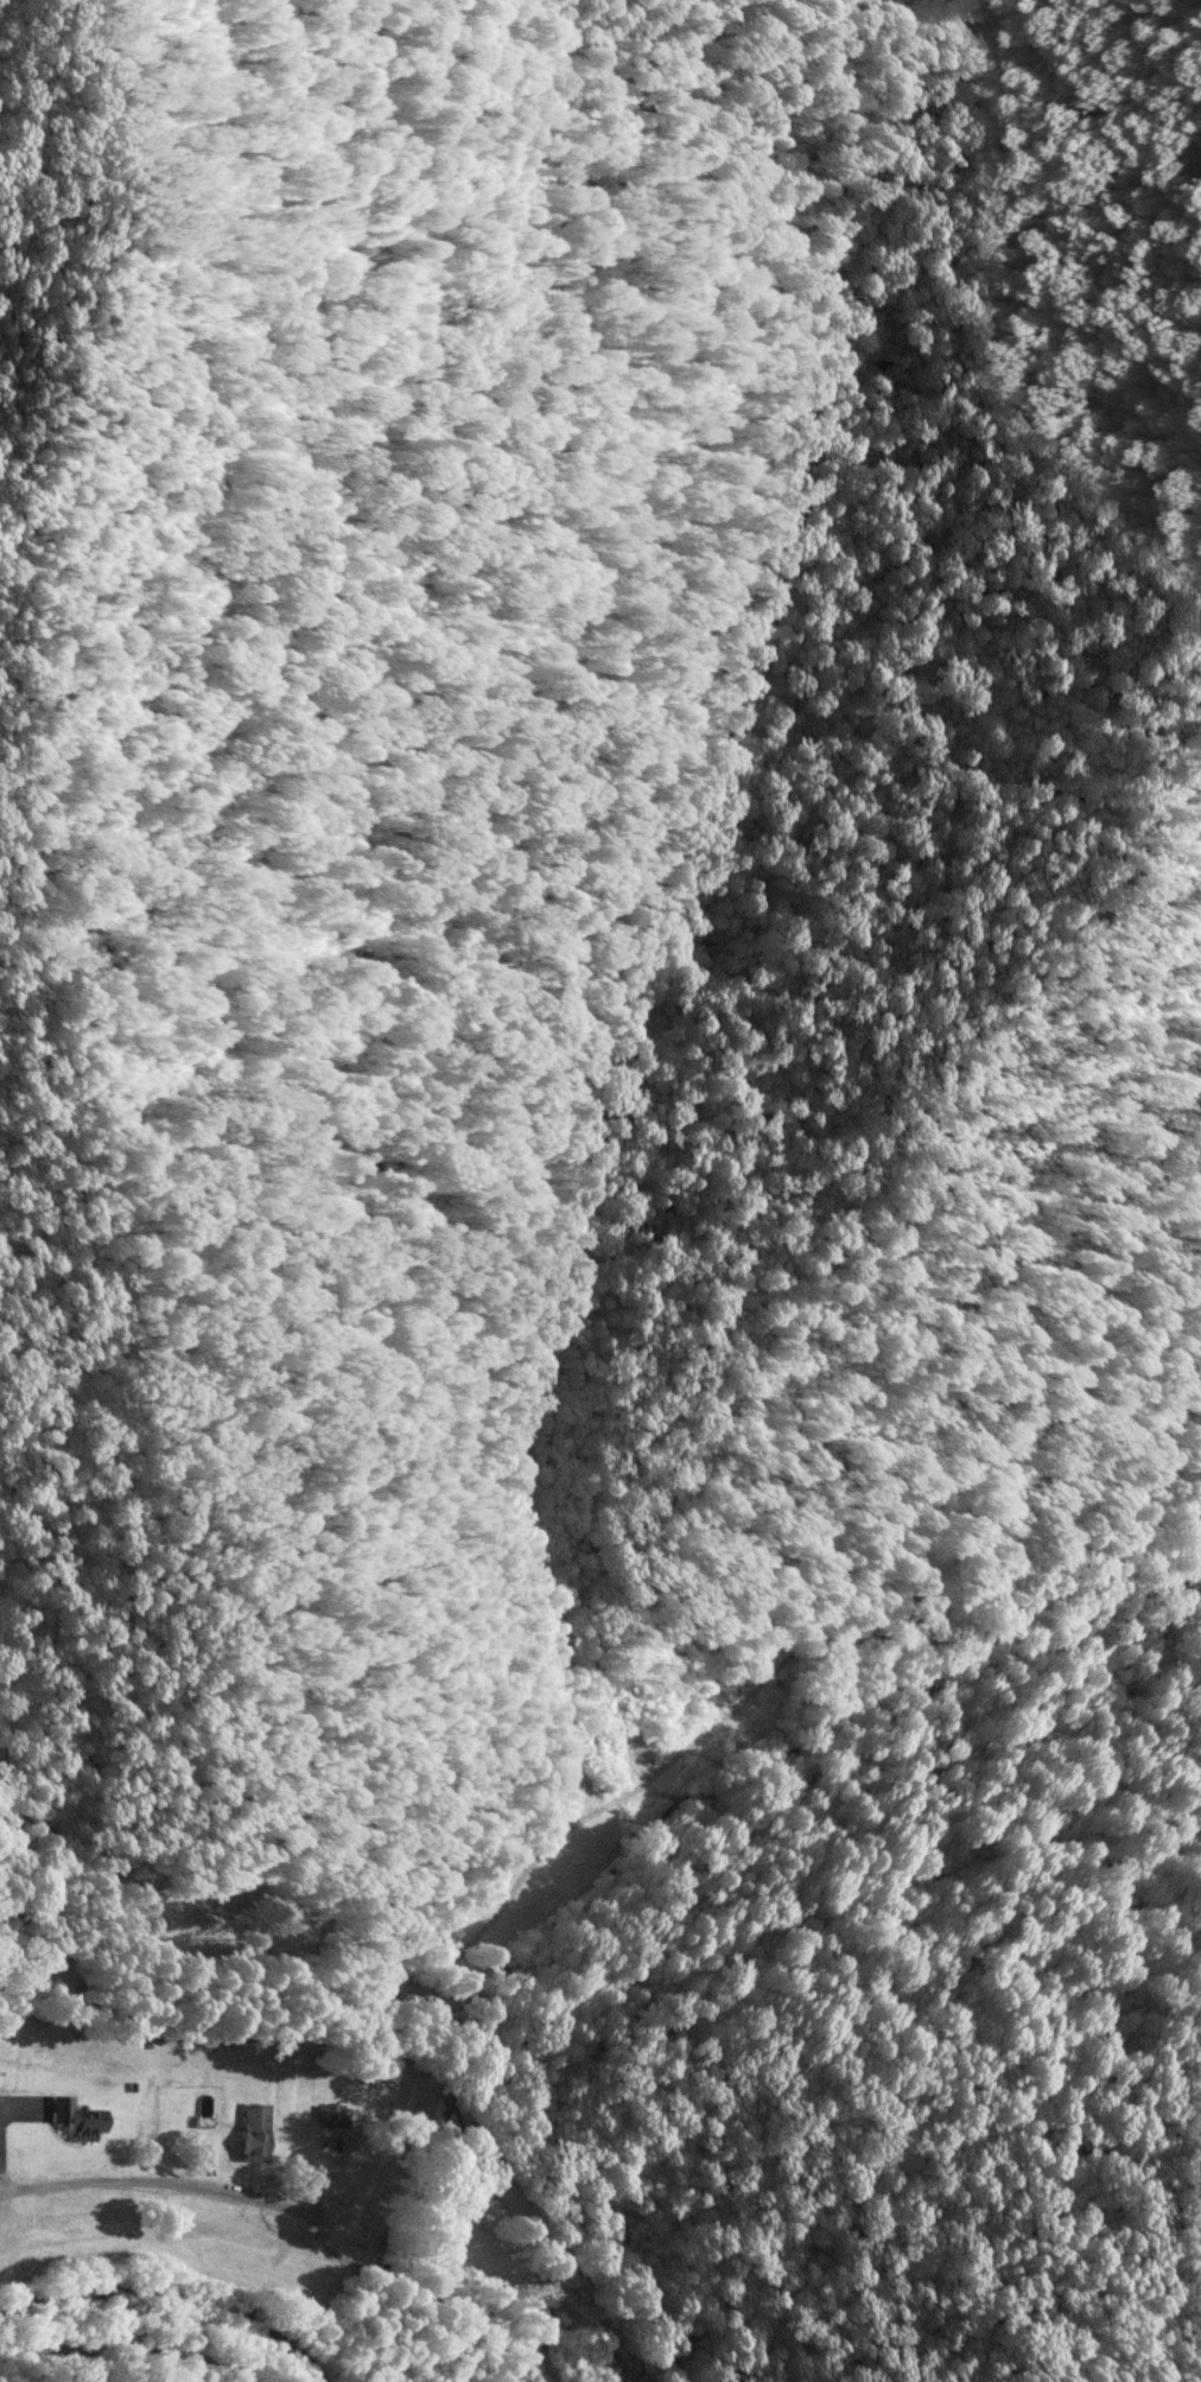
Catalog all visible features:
building: (444, 1937)
building: (329, 2115)
building: (76, 2119)
building: (254, 2133)
road: (125, 2349)

